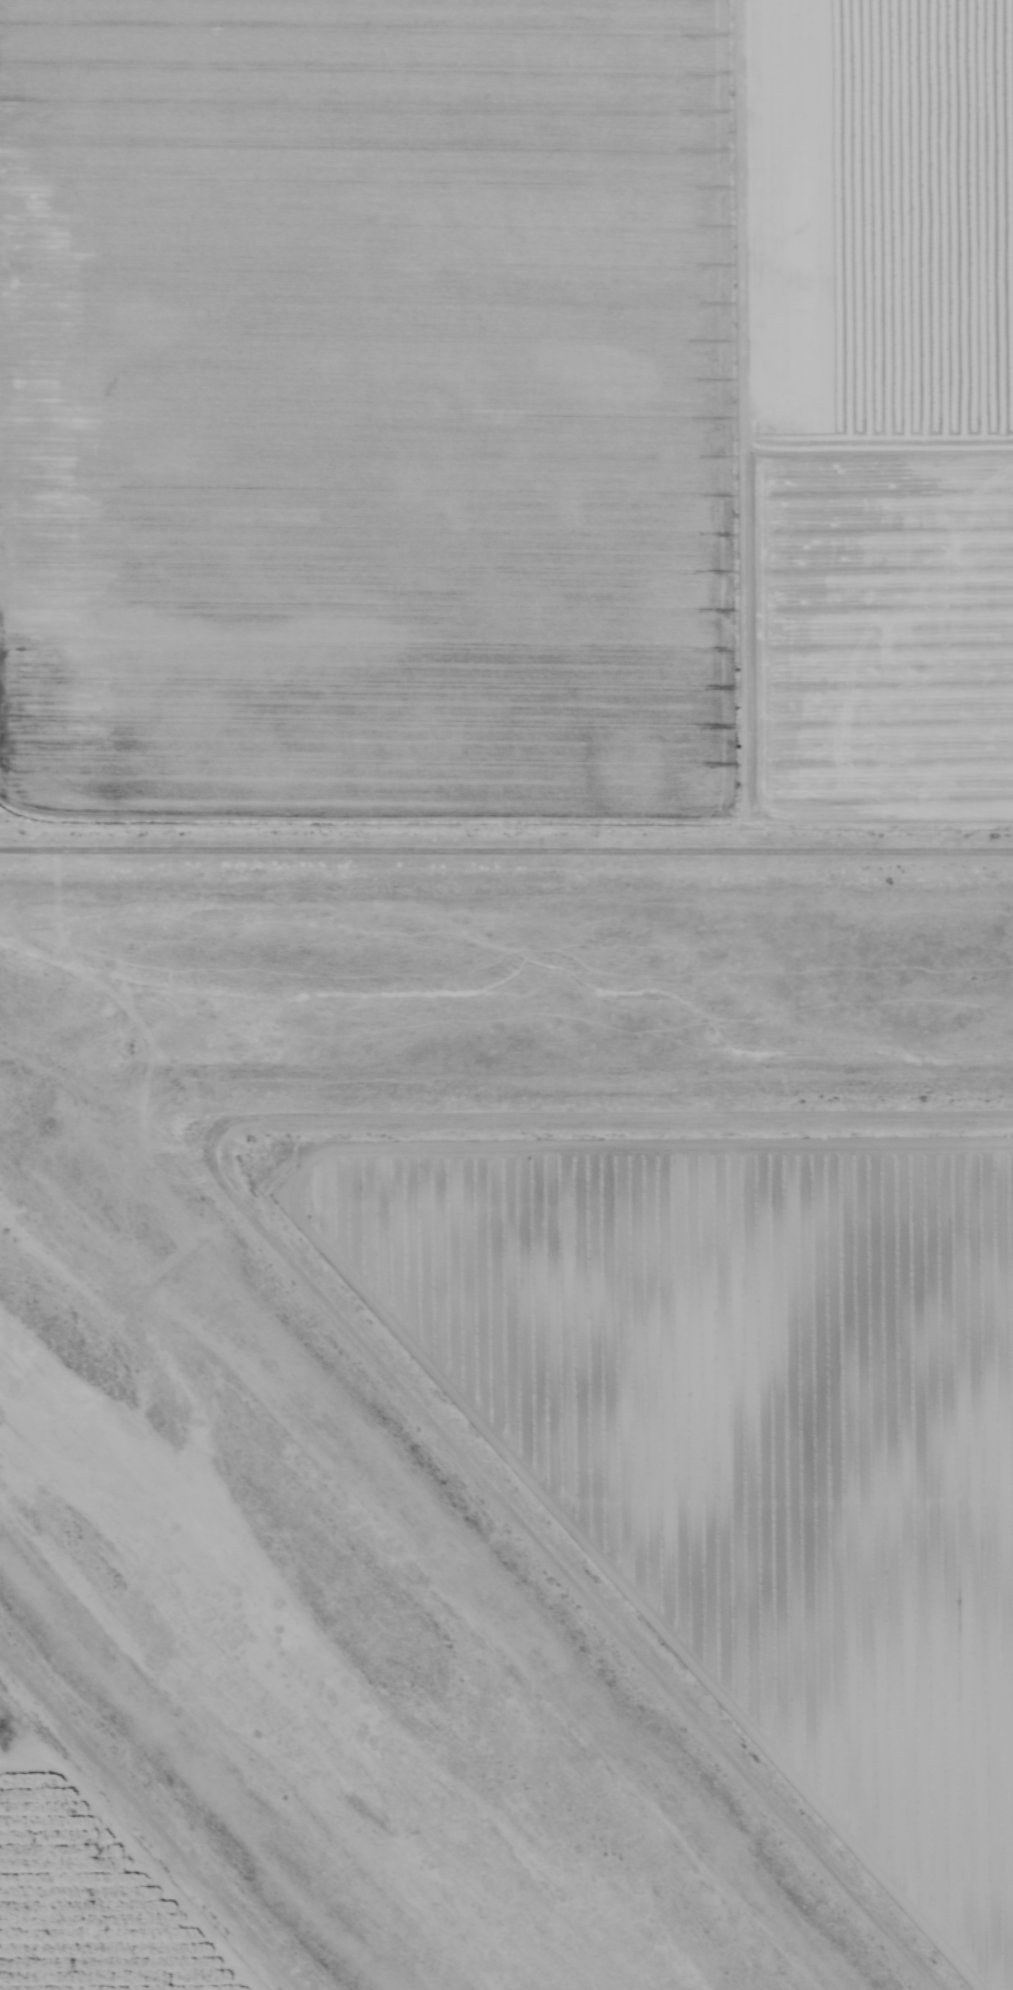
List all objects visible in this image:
crop: (506, 423)
road: (619, 1114)
crop: (732, 1428)
crop: (99, 1891)

